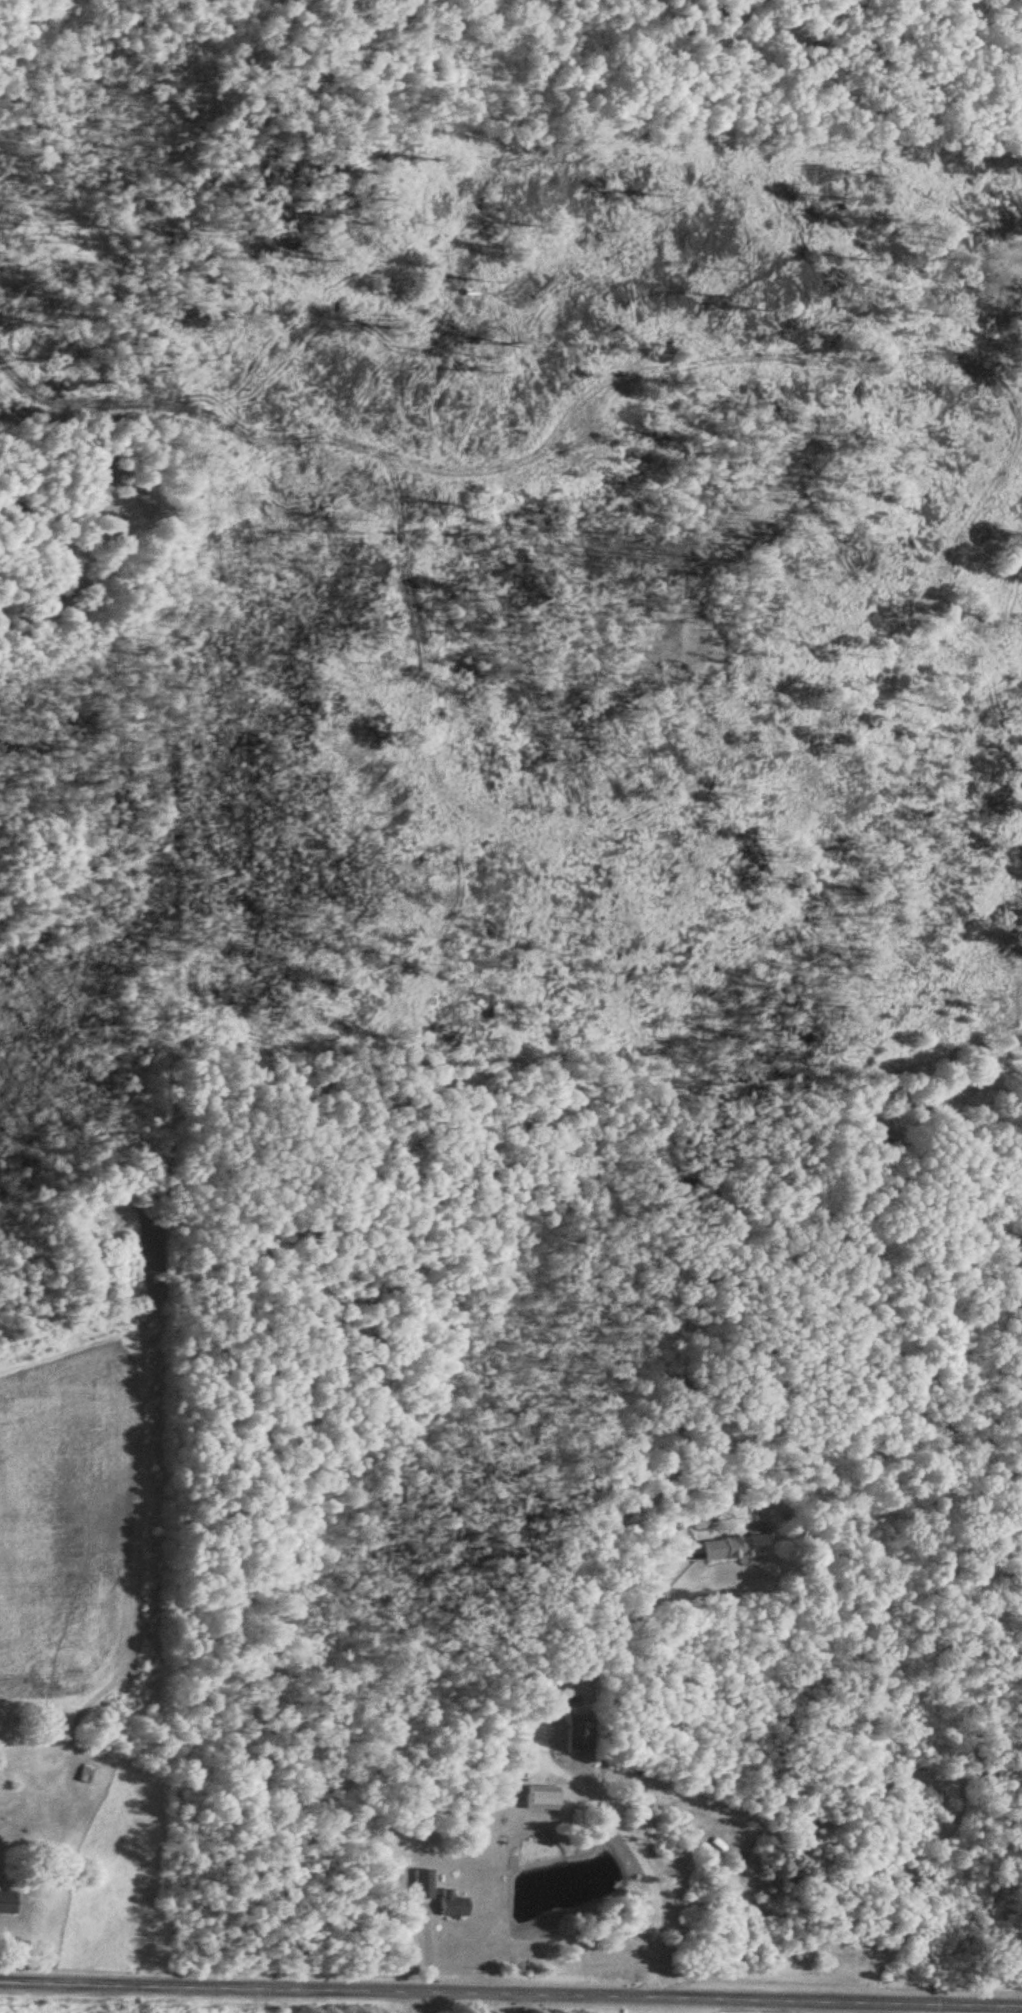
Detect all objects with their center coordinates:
building: (737, 1548)
building: (580, 1732)
building: (543, 1798)
building: (8, 1902)
building: (455, 1907)
road: (511, 1991)
road: (409, 2002)
road: (518, 2002)

